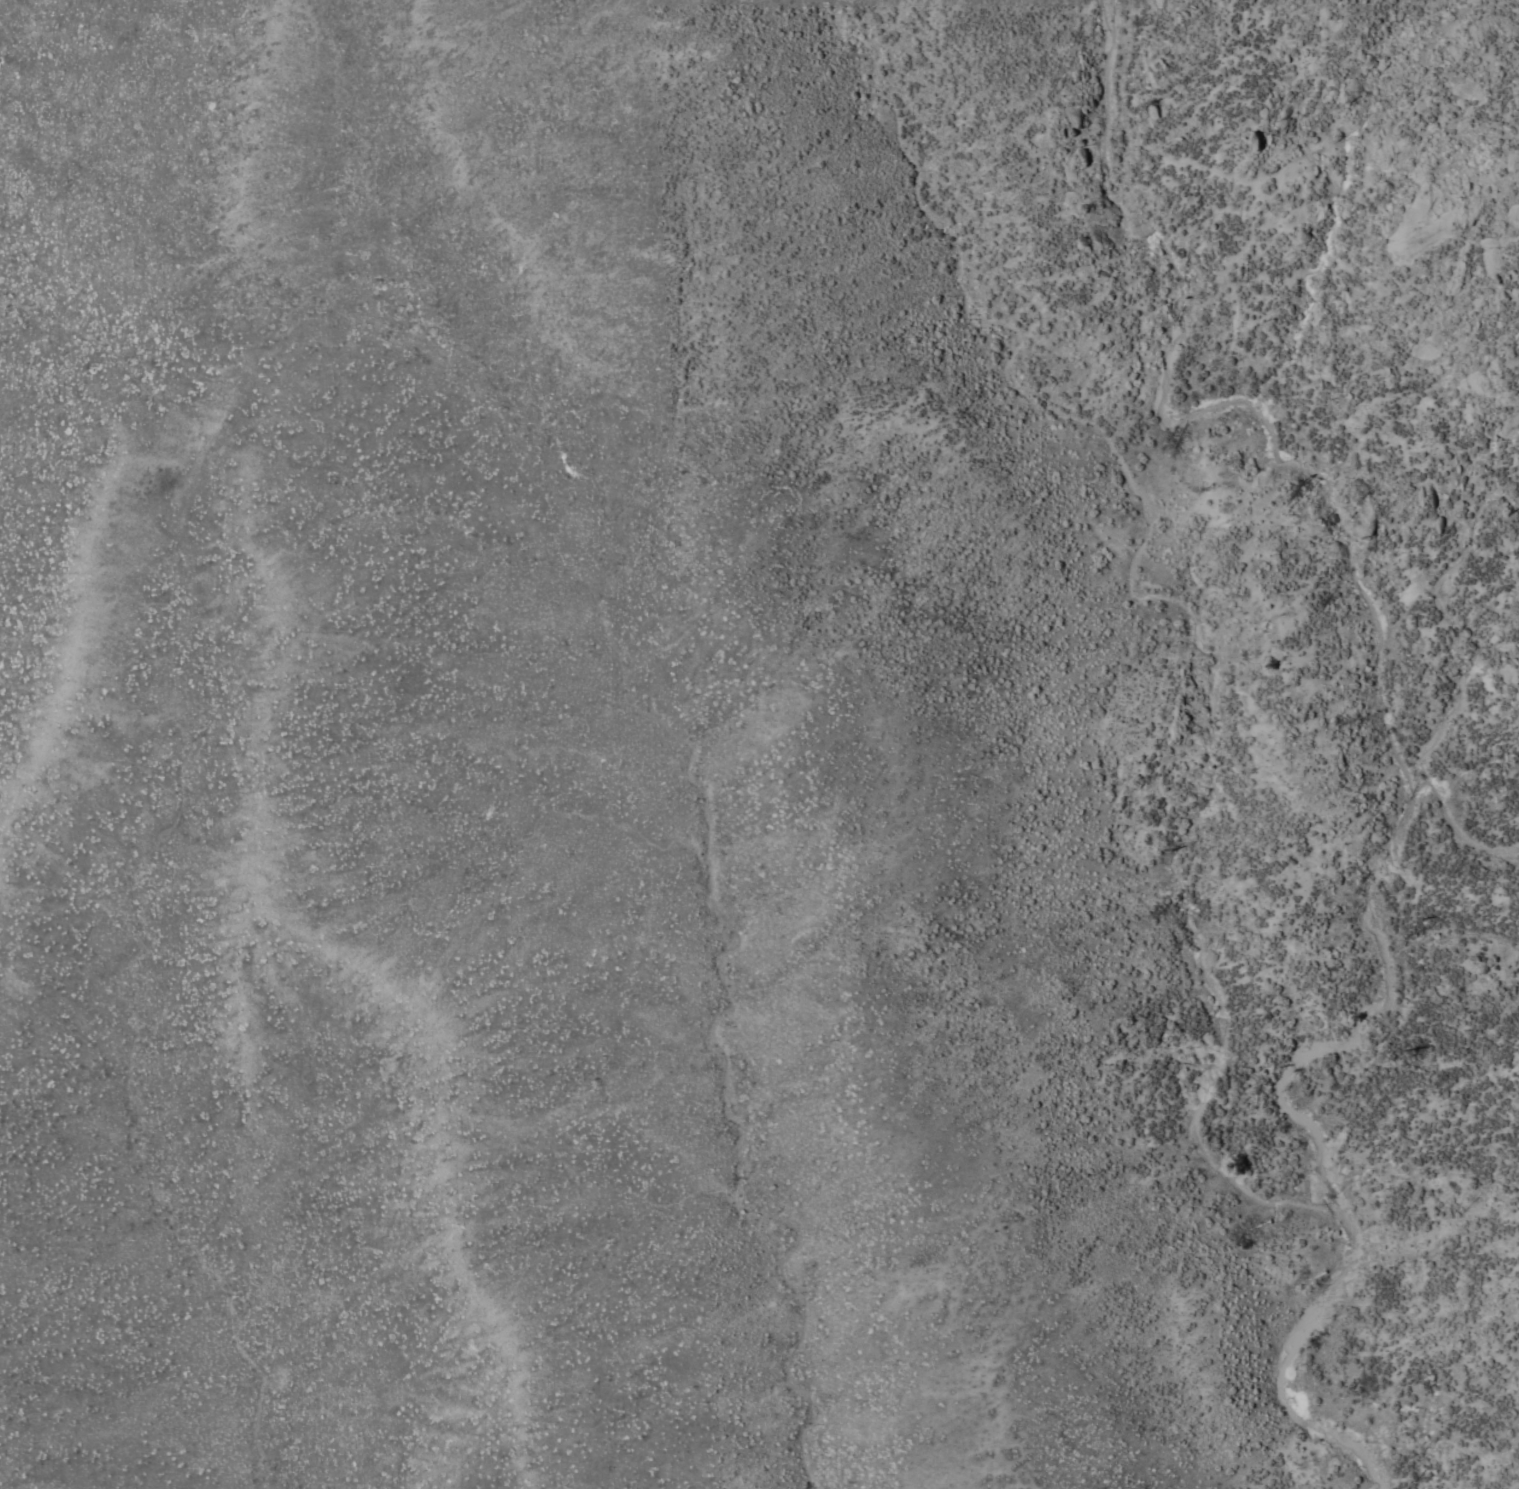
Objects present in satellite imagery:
road: (1396, 105)
road: (1136, 128)
road: (1112, 819)

